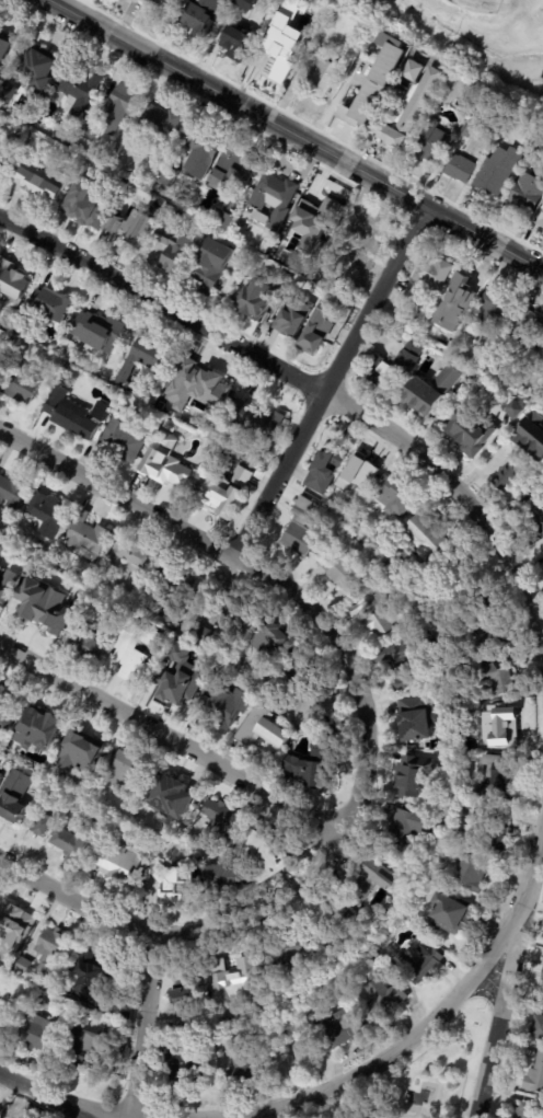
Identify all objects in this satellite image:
building: (245, 3)
building: (165, 4)
building: (327, 5)
building: (204, 16)
building: (240, 36)
building: (8, 44)
building: (282, 55)
building: (41, 68)
building: (322, 74)
building: (82, 90)
building: (10, 91)
building: (386, 93)
building: (466, 97)
building: (123, 107)
building: (51, 110)
building: (164, 124)
building: (92, 129)
building: (467, 129)
road: (296, 135)
building: (540, 139)
building: (205, 145)
building: (432, 145)
building: (535, 157)
building: (3, 159)
building: (461, 168)
building: (232, 172)
building: (170, 175)
building: (495, 175)
building: (46, 184)
building: (136, 193)
building: (525, 196)
building: (275, 200)
building: (89, 203)
building: (323, 214)
building: (222, 219)
building: (541, 219)
building: (124, 229)
building: (143, 230)
building: (361, 240)
building: (268, 244)
building: (175, 250)
building: (326, 263)
building: (212, 264)
road: (540, 269)
building: (430, 278)
building: (15, 283)
building: (287, 283)
building: (464, 292)
building: (256, 299)
road: (374, 299)
building: (2, 306)
building: (55, 306)
road: (163, 308)
building: (496, 311)
building: (438, 321)
building: (24, 324)
building: (300, 324)
building: (527, 329)
building: (101, 331)
building: (314, 333)
building: (541, 347)
building: (24, 348)
building: (542, 355)
building: (148, 359)
building: (2, 362)
building: (391, 369)
building: (508, 380)
building: (22, 387)
building: (204, 388)
building: (430, 390)
building: (538, 394)
building: (166, 402)
building: (521, 411)
building: (103, 415)
building: (71, 417)
building: (256, 419)
building: (172, 426)
building: (471, 429)
building: (531, 436)
building: (125, 439)
building: (226, 463)
building: (507, 463)
building: (170, 464)
building: (346, 466)
road: (280, 474)
building: (243, 476)
building: (317, 476)
building: (223, 493)
building: (13, 494)
road: (117, 496)
building: (394, 497)
road: (462, 497)
building: (50, 515)
building: (539, 519)
building: (302, 529)
building: (5, 533)
building: (430, 535)
building: (86, 538)
building: (0, 546)
building: (138, 556)
building: (343, 572)
building: (393, 579)
building: (107, 581)
building: (5, 593)
building: (180, 595)
building: (148, 607)
building: (376, 612)
building: (126, 614)
building: (236, 614)
building: (47, 615)
building: (81, 622)
building: (484, 625)
building: (204, 634)
building: (269, 642)
building: (88, 646)
building: (130, 659)
building: (299, 666)
building: (409, 667)
building: (466, 672)
building: (184, 677)
building: (496, 677)
building: (226, 706)
building: (9, 707)
building: (313, 710)
building: (419, 718)
building: (505, 727)
building: (43, 729)
building: (265, 729)
road: (172, 736)
building: (82, 753)
building: (319, 764)
building: (131, 770)
building: (0, 772)
building: (418, 773)
building: (501, 781)
road: (363, 782)
building: (14, 797)
building: (176, 799)
building: (432, 807)
building: (102, 820)
building: (226, 821)
building: (44, 826)
building: (500, 827)
building: (407, 831)
building: (72, 844)
building: (268, 854)
building: (123, 866)
building: (405, 872)
building: (477, 872)
road: (531, 876)
building: (227, 880)
building: (380, 880)
building: (177, 881)
road: (77, 900)
building: (448, 915)
building: (336, 920)
building: (14, 924)
building: (50, 948)
building: (290, 955)
building: (420, 966)
building: (25, 967)
building: (60, 973)
building: (542, 975)
building: (90, 979)
building: (240, 980)
building: (388, 999)
building: (21, 1001)
building: (185, 1003)
building: (5, 1017)
road: (495, 1017)
road: (146, 1024)
building: (535, 1027)
building: (340, 1029)
building: (39, 1030)
building: (58, 1047)
building: (91, 1048)
road: (404, 1048)
building: (185, 1069)
building: (244, 1072)
building: (534, 1075)
park: (418, 1077)
road: (45, 1093)
building: (528, 1110)
road: (274, 1114)
road: (401, 1116)

